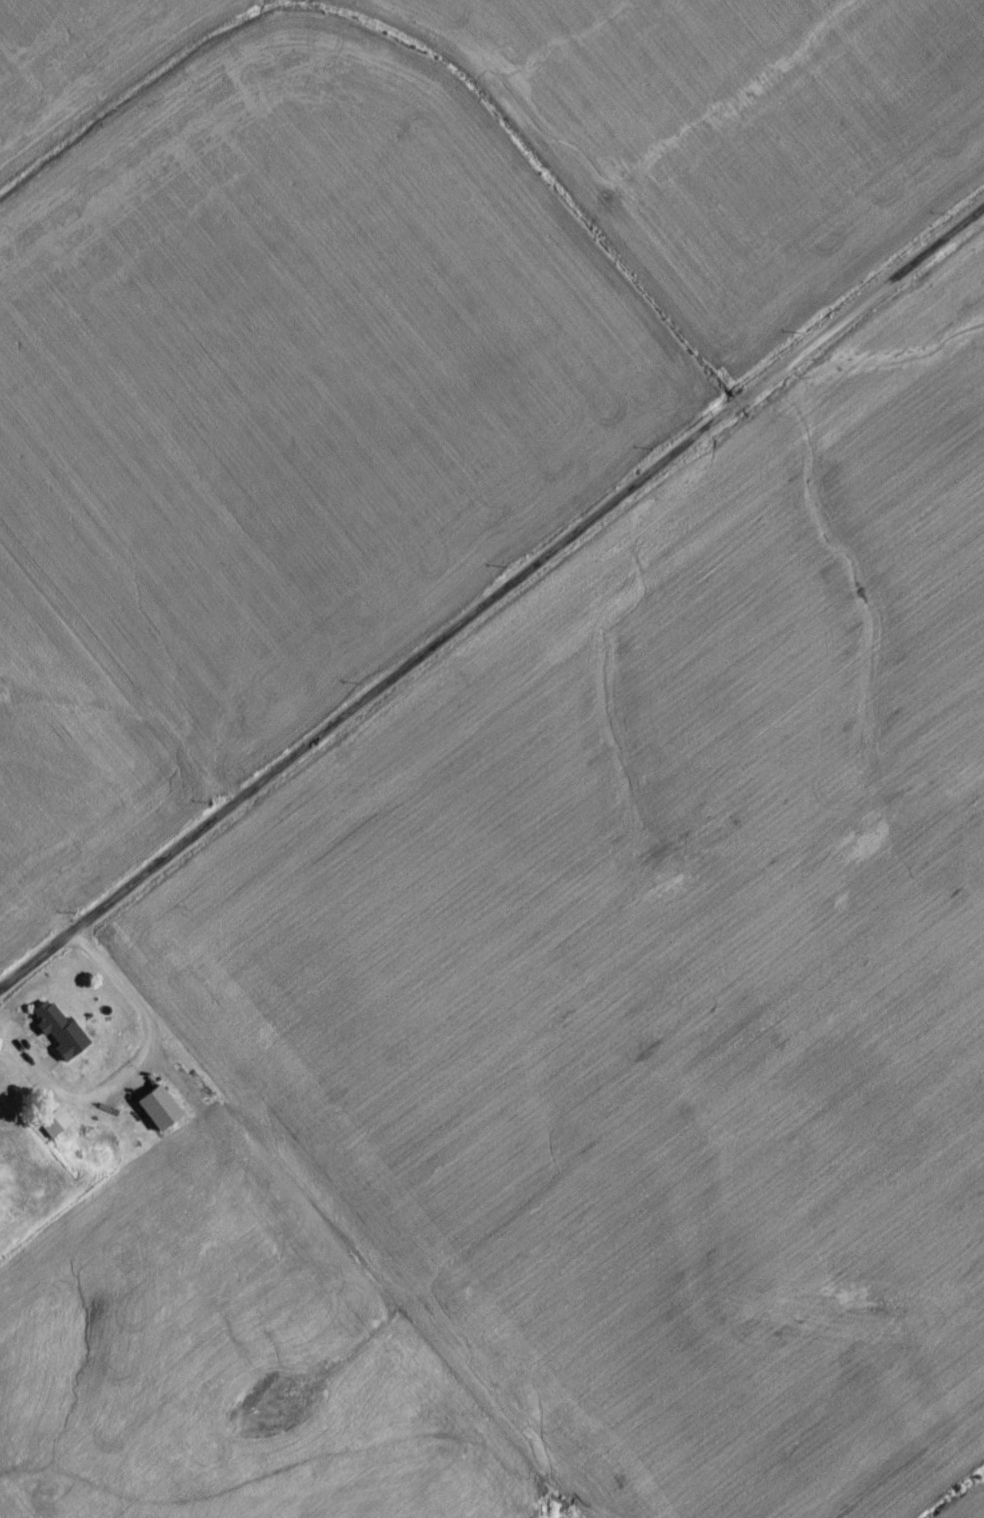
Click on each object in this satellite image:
road: (491, 603)
building: (56, 1034)
road: (146, 1057)
building: (152, 1112)
building: (52, 1127)

